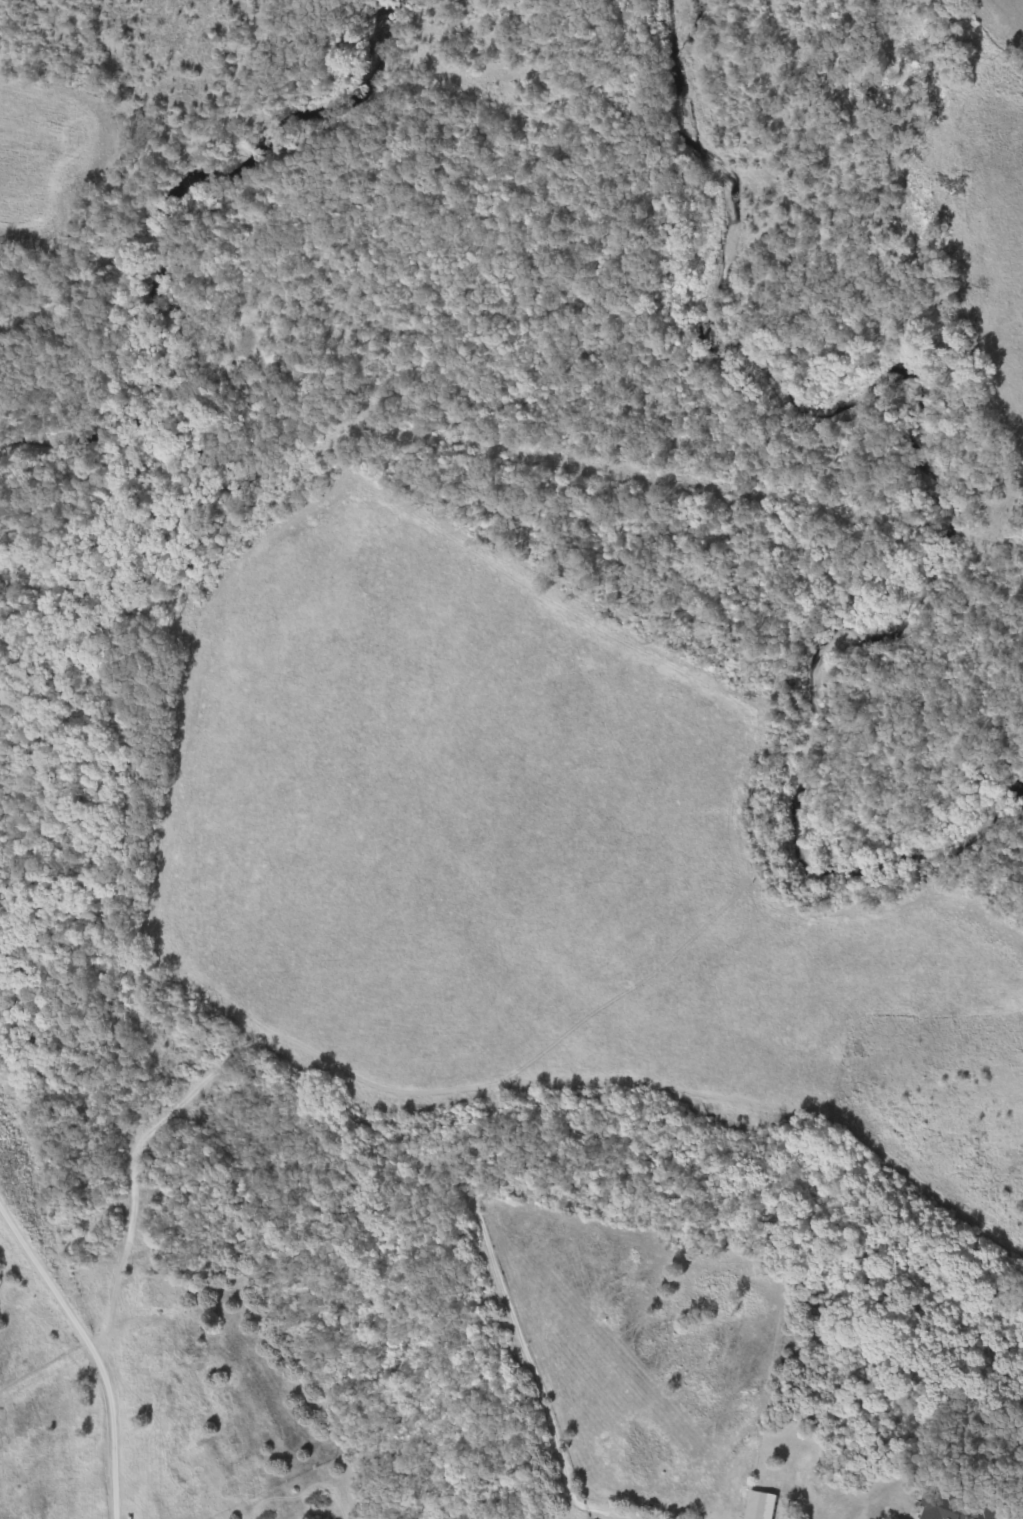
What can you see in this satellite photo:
building: (762, 1505)
building: (948, 1506)

